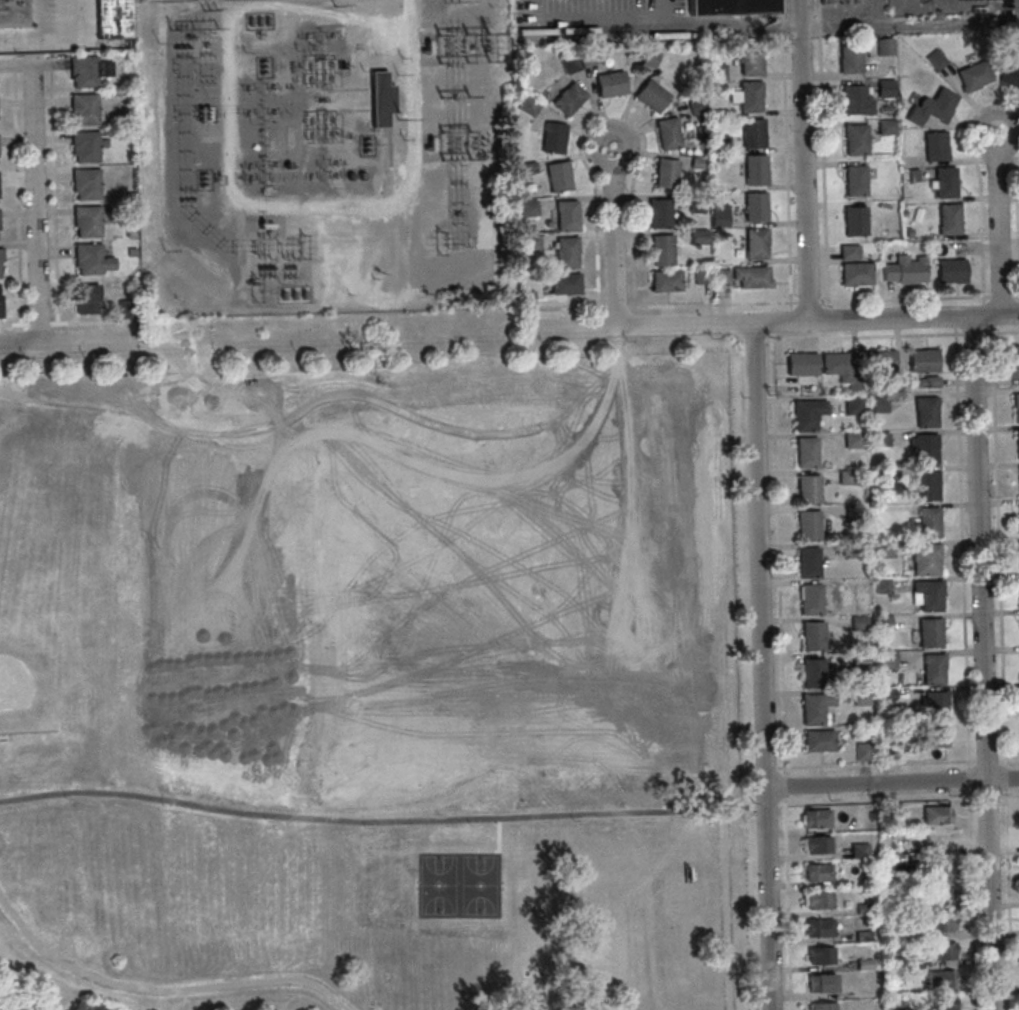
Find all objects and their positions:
building: (837, 2)
road: (951, 6)
building: (732, 7)
road: (816, 9)
road: (781, 10)
road: (1017, 10)
road: (657, 11)
road: (865, 12)
building: (12, 13)
building: (112, 19)
road: (38, 20)
parking lot: (596, 20)
road: (584, 22)
road: (909, 23)
road: (817, 27)
road: (782, 29)
road: (727, 32)
road: (56, 39)
road: (96, 43)
building: (884, 47)
building: (124, 56)
building: (651, 57)
building: (589, 58)
building: (848, 59)
building: (934, 59)
building: (570, 61)
building: (752, 62)
building: (85, 71)
building: (718, 72)
building: (1009, 74)
building: (972, 76)
building: (611, 84)
building: (716, 86)
building: (884, 88)
building: (652, 96)
building: (749, 96)
building: (378, 99)
building: (569, 99)
building: (854, 100)
building: (529, 105)
building: (696, 106)
building: (931, 107)
building: (81, 109)
road: (610, 113)
road: (1007, 115)
building: (885, 127)
building: (669, 133)
building: (754, 133)
building: (554, 136)
building: (854, 140)
building: (721, 143)
building: (84, 146)
building: (934, 146)
road: (408, 149)
power substation: (322, 156)
road: (803, 160)
building: (698, 162)
building: (529, 167)
building: (757, 169)
road: (822, 171)
building: (666, 172)
road: (787, 173)
building: (701, 174)
building: (559, 175)
road: (978, 177)
building: (854, 181)
building: (943, 183)
building: (84, 184)
road: (226, 188)
building: (126, 195)
road: (34, 201)
building: (697, 204)
building: (756, 206)
building: (528, 207)
building: (661, 212)
building: (567, 214)
building: (720, 215)
building: (947, 219)
building: (85, 221)
building: (853, 221)
road: (1016, 226)
building: (128, 232)
building: (907, 232)
road: (997, 233)
building: (699, 235)
road: (613, 236)
building: (0, 239)
building: (531, 242)
building: (757, 242)
building: (663, 249)
building: (129, 251)
building: (566, 251)
building: (847, 252)
building: (89, 259)
building: (1, 262)
building: (903, 270)
building: (950, 271)
building: (854, 273)
building: (701, 275)
building: (722, 276)
building: (752, 276)
building: (668, 280)
building: (566, 282)
road: (1000, 295)
road: (1015, 295)
building: (529, 297)
road: (905, 298)
building: (84, 299)
building: (1, 300)
road: (809, 301)
road: (713, 304)
road: (616, 307)
road: (563, 308)
building: (125, 309)
road: (828, 314)
road: (987, 314)
road: (636, 320)
road: (781, 320)
road: (599, 321)
road: (957, 322)
road: (62, 323)
road: (770, 323)
road: (735, 328)
road: (125, 330)
road: (1002, 331)
building: (159, 332)
road: (975, 332)
road: (863, 336)
road: (735, 340)
road: (753, 340)
road: (68, 343)
road: (616, 355)
building: (881, 359)
building: (924, 359)
building: (1013, 360)
building: (803, 362)
building: (842, 368)
building: (901, 381)
building: (929, 381)
road: (639, 389)
road: (151, 390)
building: (878, 404)
building: (854, 405)
building: (1017, 406)
building: (927, 410)
building: (808, 413)
building: (853, 439)
building: (881, 439)
building: (1018, 444)
building: (925, 447)
park: (13, 449)
building: (807, 451)
building: (878, 476)
building: (847, 477)
building: (926, 485)
building: (809, 488)
building: (853, 513)
building: (929, 521)
building: (809, 525)
road: (998, 545)
building: (857, 549)
building: (886, 549)
road: (778, 553)
road: (961, 558)
building: (926, 559)
building: (808, 561)
building: (883, 585)
building: (927, 595)
building: (810, 598)
building: (884, 622)
building: (858, 623)
building: (930, 632)
building: (813, 635)
park: (47, 658)
building: (859, 659)
building: (886, 659)
road: (982, 663)
road: (761, 666)
building: (933, 668)
park: (377, 670)
building: (812, 671)
building: (887, 693)
building: (861, 696)
building: (936, 705)
building: (813, 708)
building: (930, 737)
building: (819, 740)
building: (864, 751)
road: (1007, 759)
road: (985, 760)
road: (875, 763)
road: (770, 768)
road: (1004, 776)
road: (891, 781)
road: (784, 785)
road: (1008, 795)
road: (986, 796)
road: (876, 800)
road: (771, 804)
road: (456, 809)
building: (891, 811)
building: (937, 814)
building: (872, 816)
building: (816, 817)
road: (381, 820)
road: (499, 835)
road: (637, 837)
building: (933, 839)
building: (816, 843)
building: (860, 850)
building: (911, 868)
building: (818, 871)
building: (640, 873)
park: (458, 884)
building: (941, 895)
road: (1007, 898)
building: (820, 899)
road: (972, 899)
road: (787, 903)
building: (865, 909)
building: (940, 922)
building: (819, 927)
building: (863, 935)
building: (943, 950)
building: (821, 955)
building: (865, 963)
building: (941, 979)
building: (822, 982)
road: (161, 989)
building: (944, 1003)
building: (823, 1006)
building: (902, 1009)

